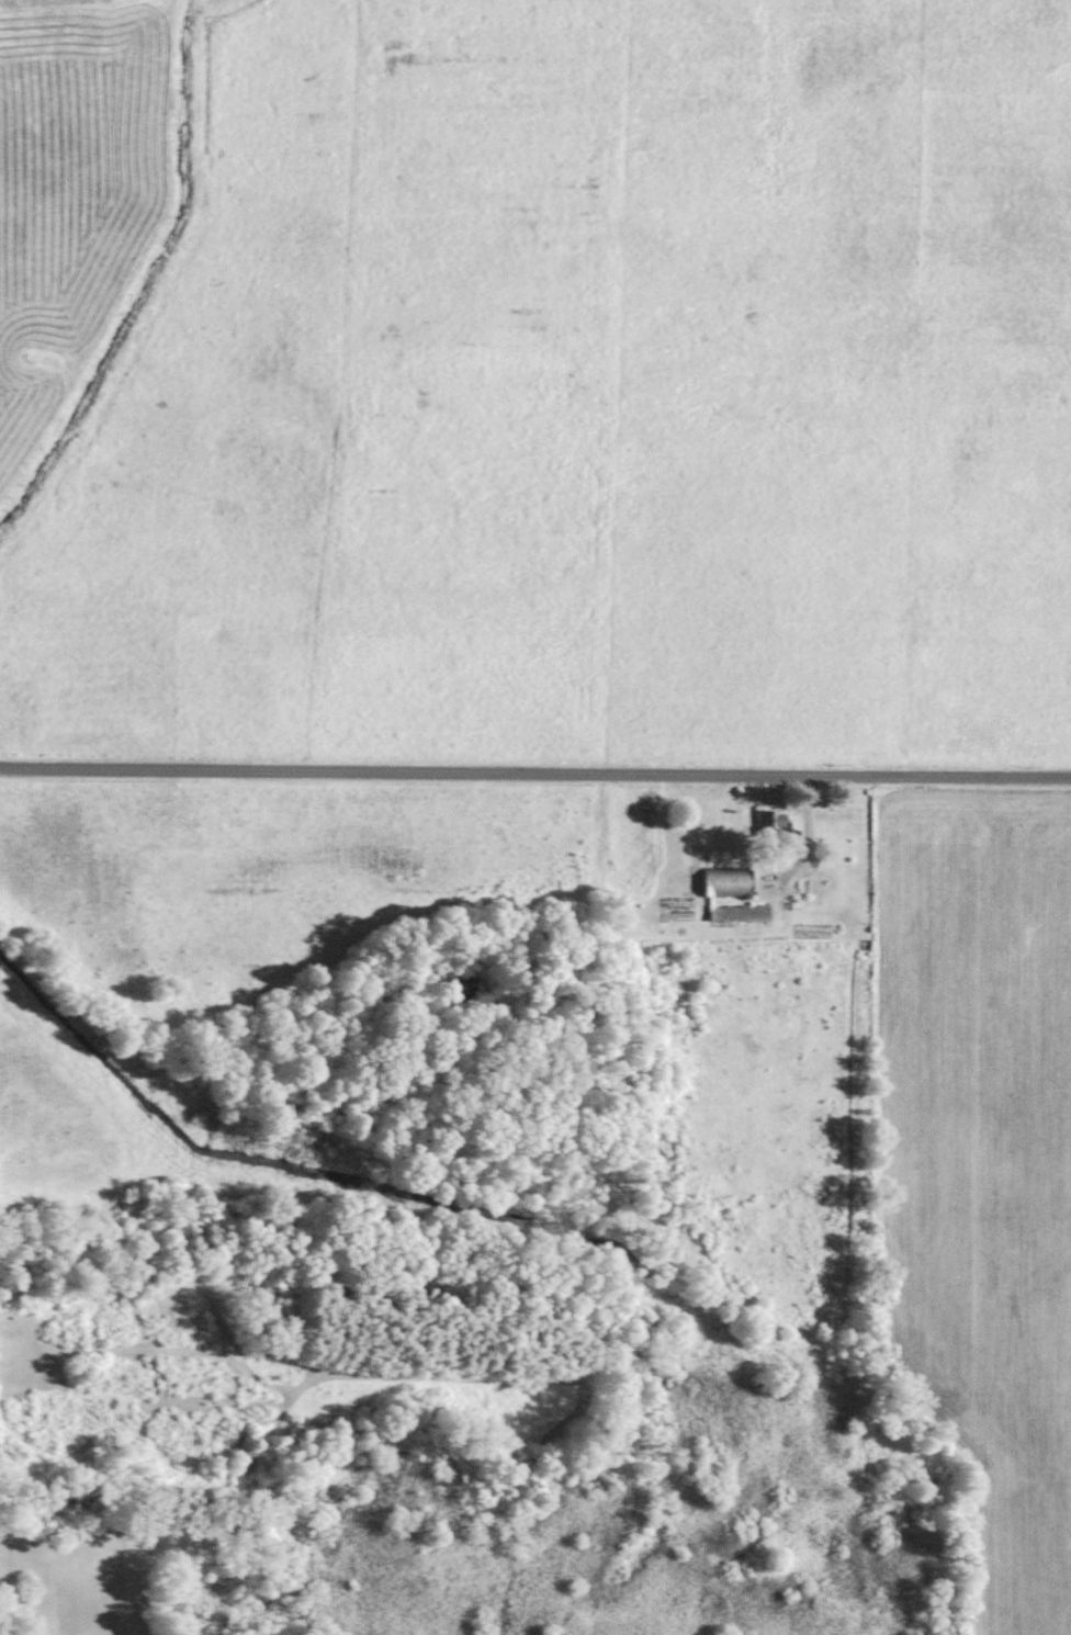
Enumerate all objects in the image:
road: (535, 776)
building: (779, 819)

